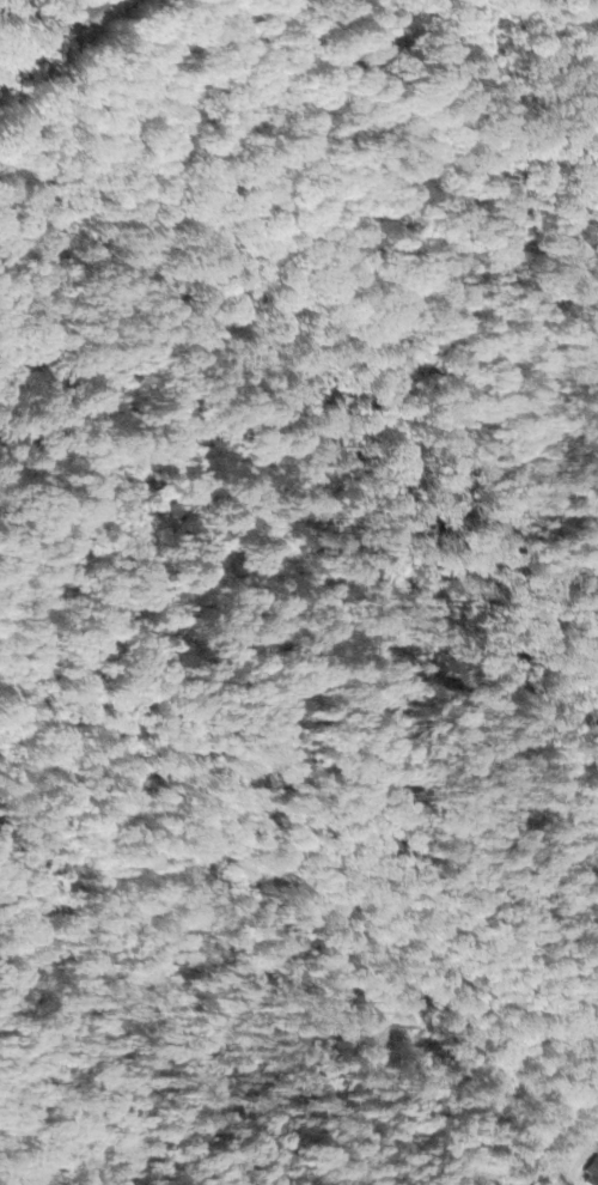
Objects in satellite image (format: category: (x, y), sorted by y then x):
building: (593, 1175)

